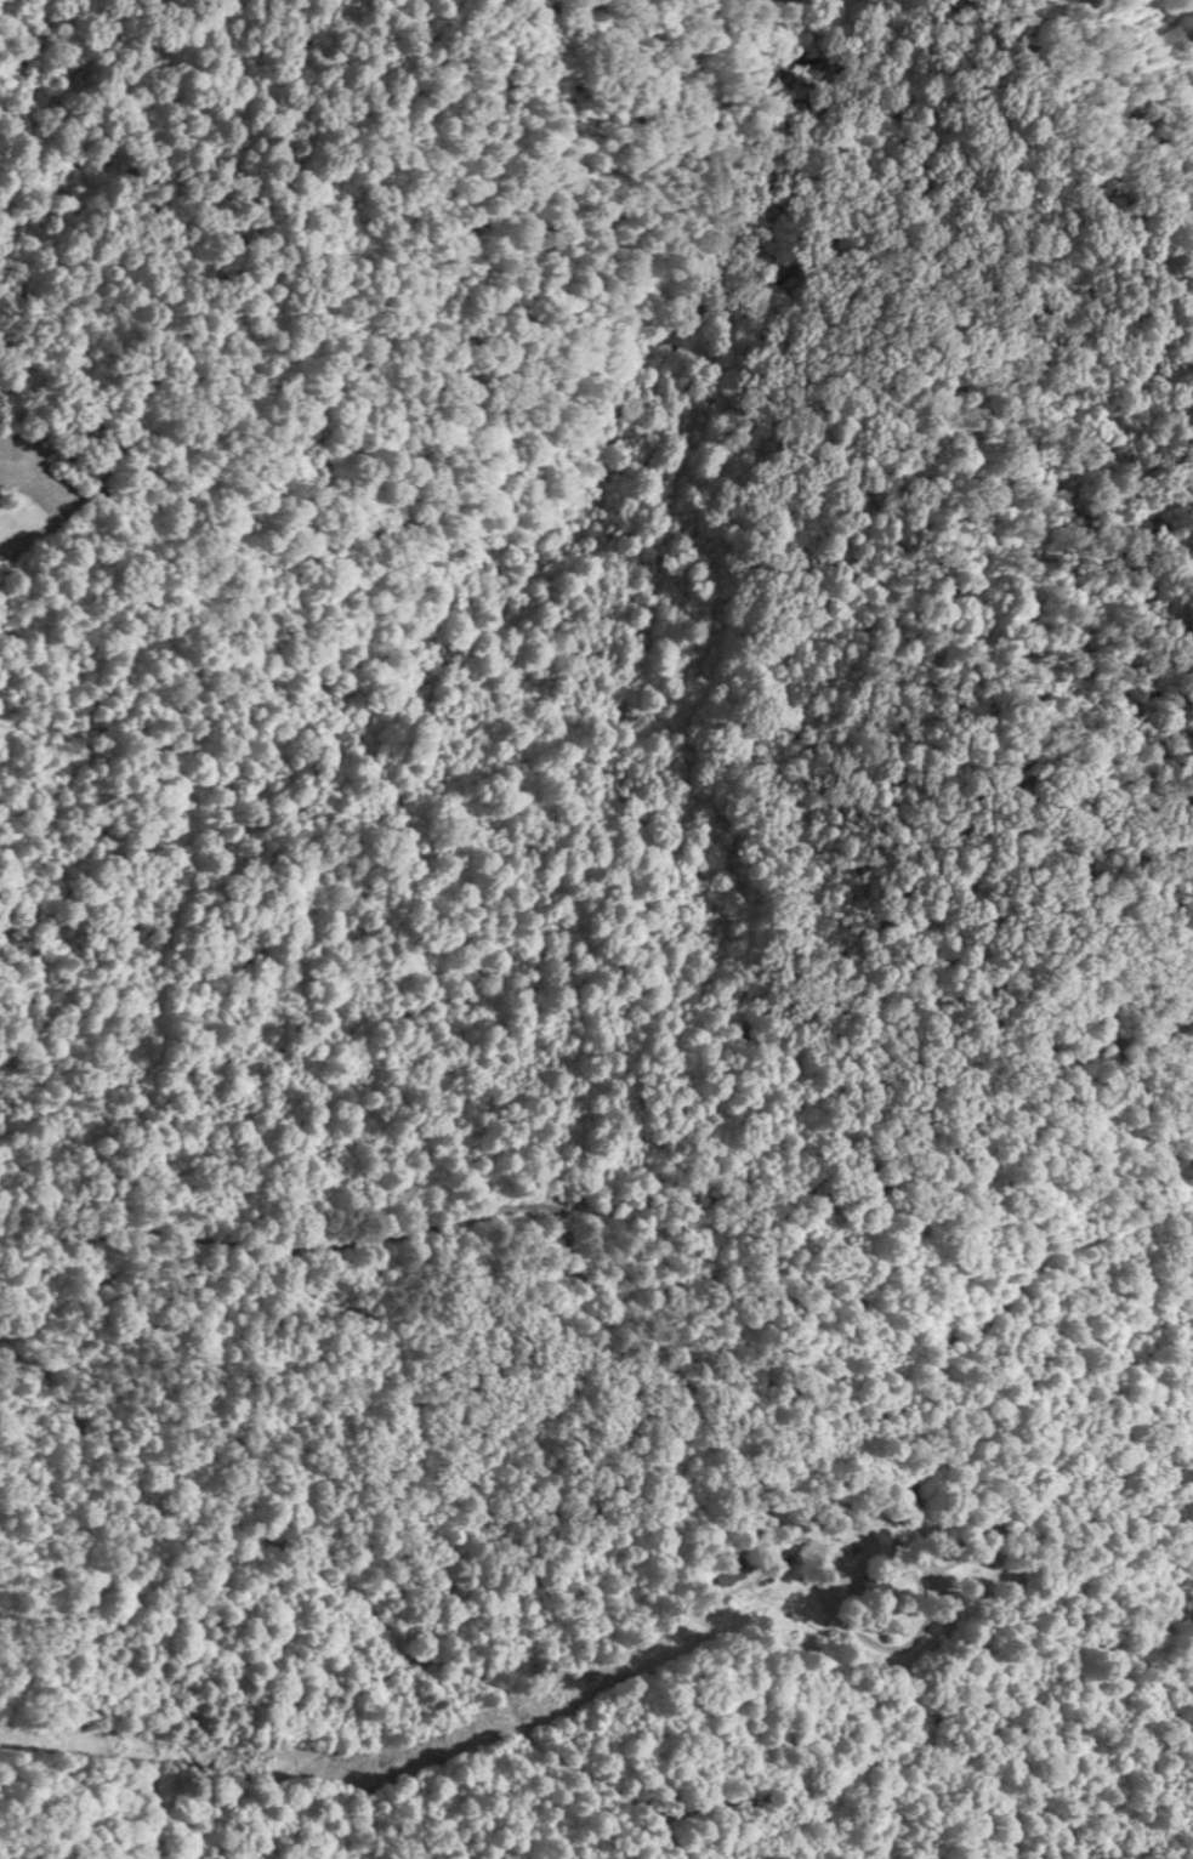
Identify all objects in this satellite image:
road: (837, 1196)

